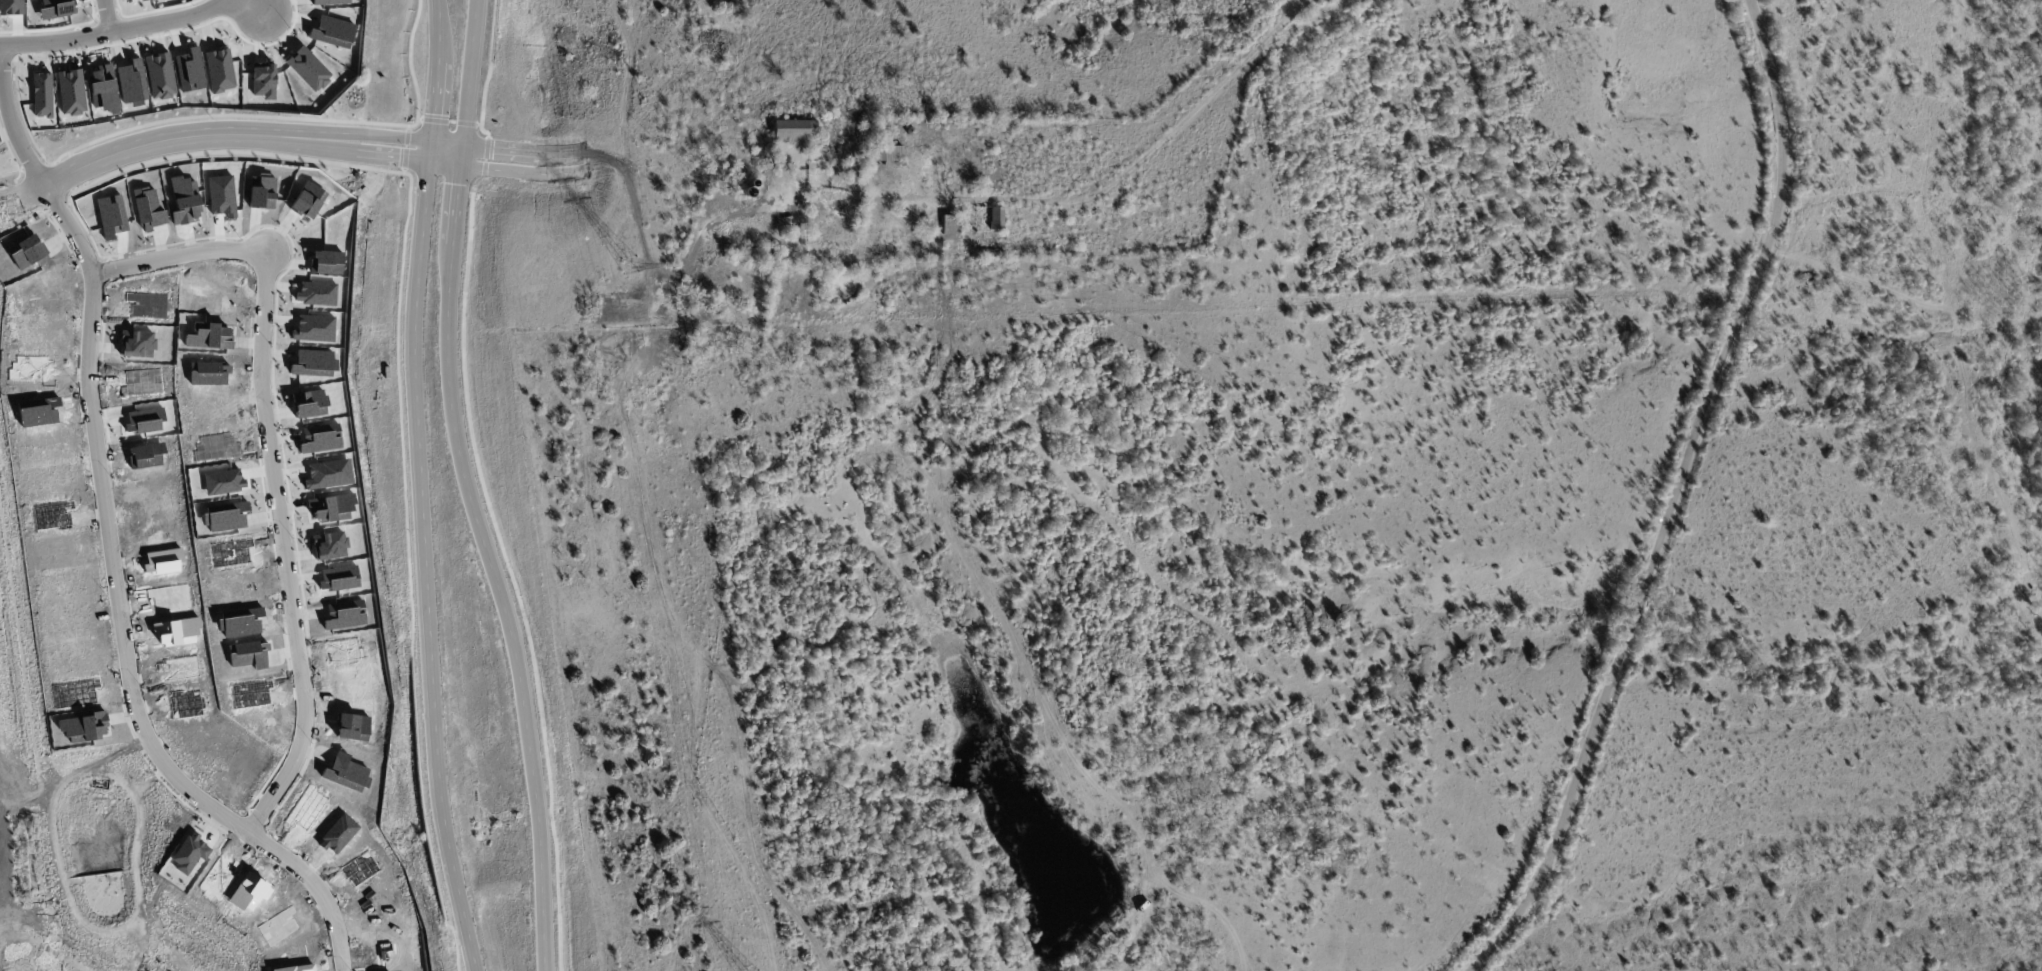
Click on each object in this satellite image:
road: (258, 6)
road: (106, 15)
road: (112, 30)
building: (71, 92)
building: (792, 131)
road: (397, 138)
road: (160, 144)
road: (522, 152)
building: (882, 153)
road: (395, 159)
road: (583, 162)
building: (768, 165)
road: (523, 172)
building: (959, 183)
road: (885, 196)
building: (987, 218)
building: (949, 225)
road: (185, 250)
building: (989, 253)
building: (771, 258)
power tower: (630, 270)
building: (309, 403)
building: (320, 438)
building: (145, 455)
building: (328, 474)
building: (221, 481)
road: (419, 487)
road: (470, 487)
road: (1675, 498)
building: (331, 507)
building: (224, 516)
road: (116, 537)
building: (329, 544)
road: (291, 546)
building: (162, 561)
building: (338, 578)
building: (345, 614)
building: (344, 649)

